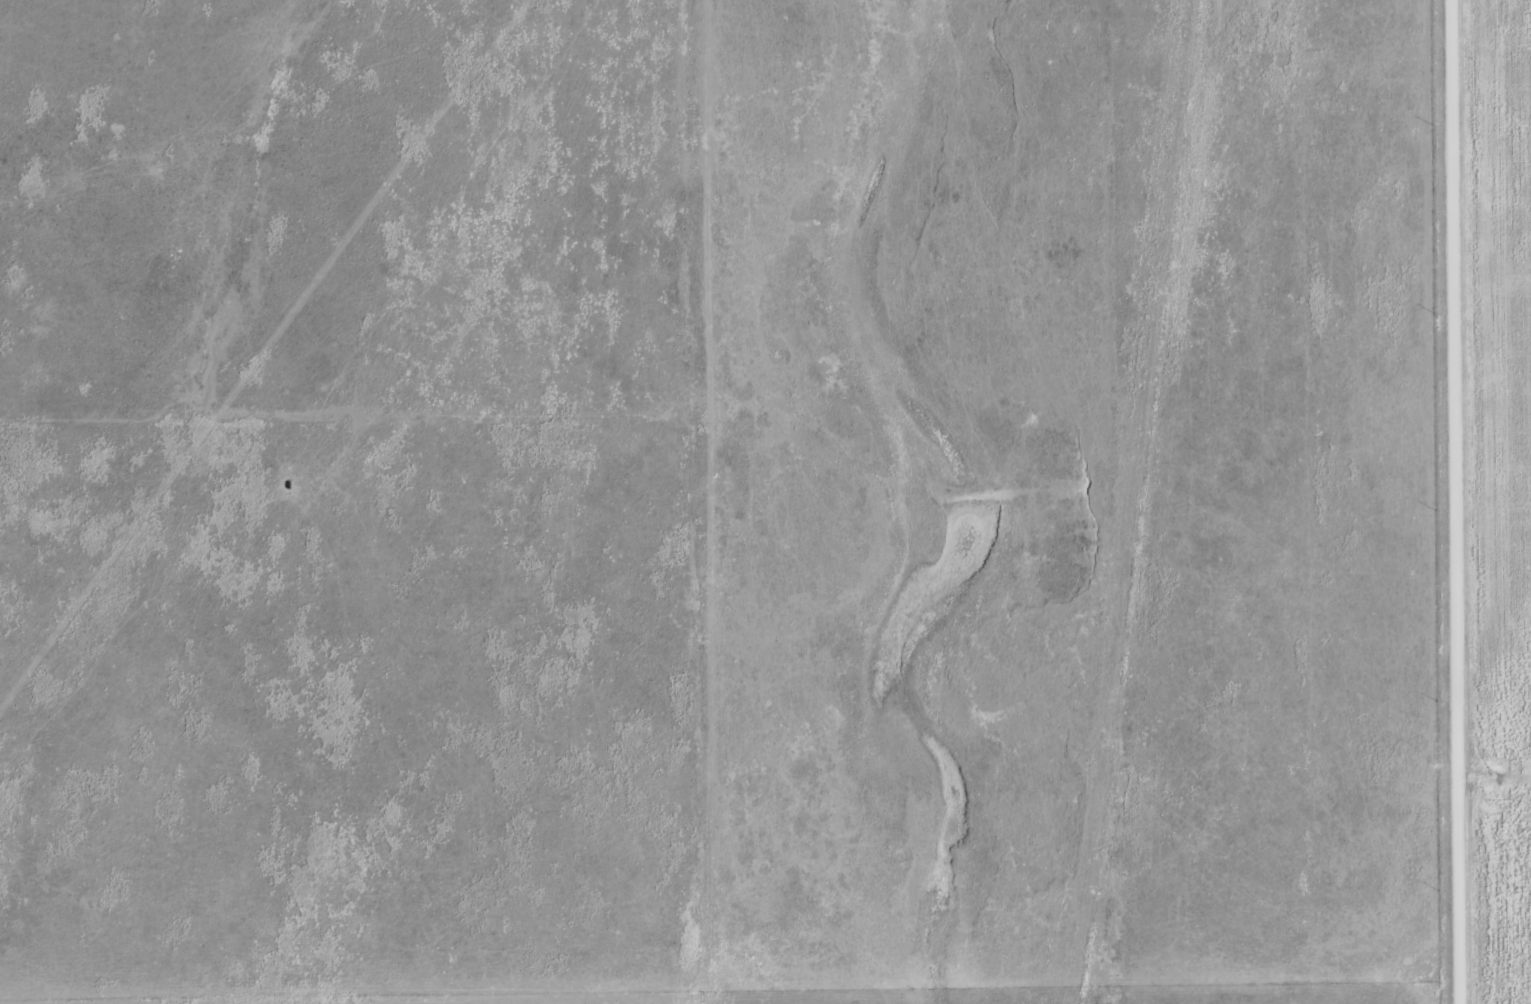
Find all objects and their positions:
road: (1494, 139)
road: (1461, 501)

